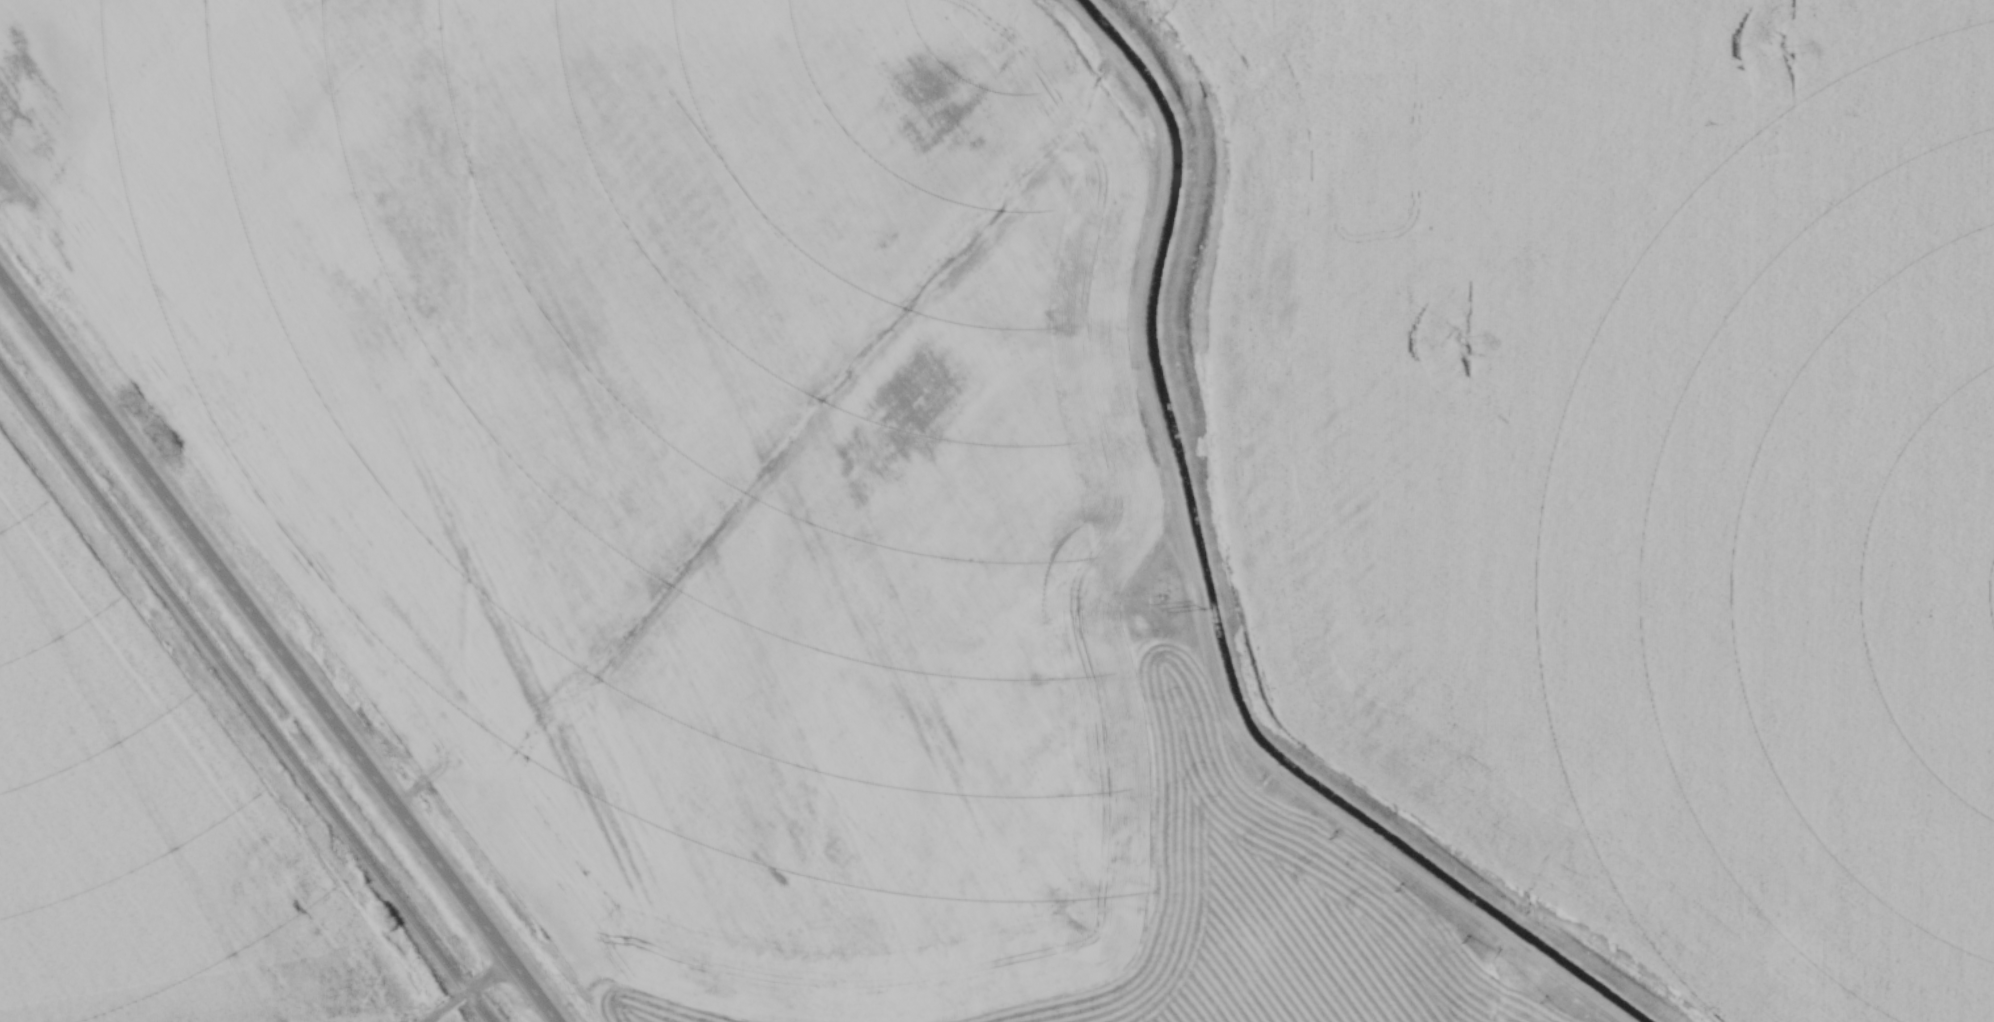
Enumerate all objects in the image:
power tower: (1787, 52)
power tower: (1464, 342)
power tower: (1166, 609)
road: (275, 654)
railway: (241, 695)
road: (468, 993)

